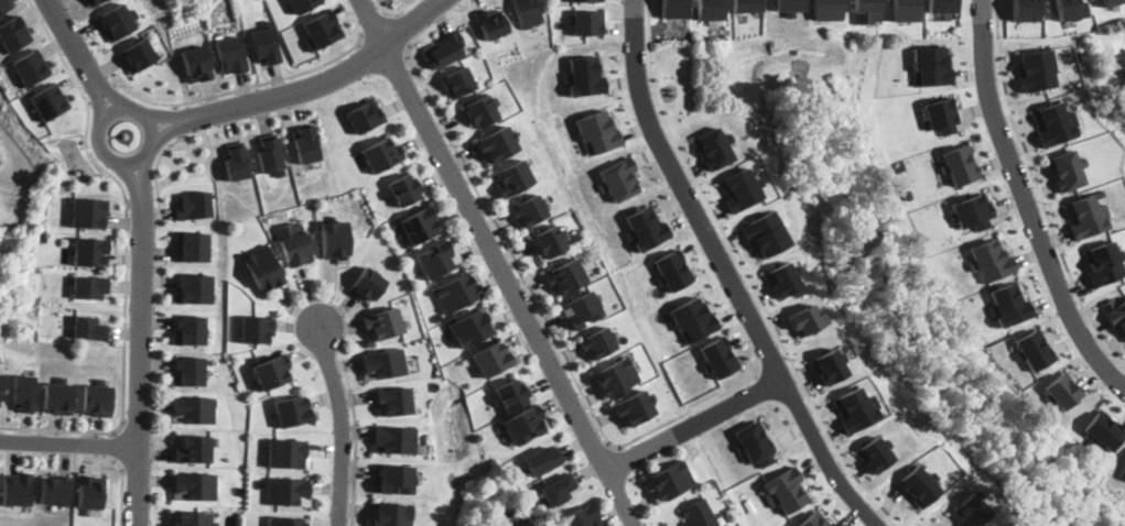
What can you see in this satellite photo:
building: (586, 0)
building: (94, 2)
building: (1110, 2)
building: (4, 4)
building: (303, 4)
building: (747, 6)
building: (943, 6)
building: (791, 7)
building: (674, 8)
building: (711, 9)
building: (1070, 9)
road: (396, 10)
building: (829, 10)
building: (906, 10)
building: (1025, 10)
building: (867, 11)
building: (528, 12)
building: (118, 21)
building: (587, 22)
building: (491, 23)
road: (377, 25)
road: (401, 29)
road: (65, 30)
building: (322, 30)
building: (13, 33)
building: (267, 43)
building: (445, 50)
building: (231, 54)
building: (139, 55)
building: (197, 64)
building: (932, 65)
building: (30, 66)
building: (1036, 69)
building: (584, 76)
building: (457, 81)
road: (294, 88)
road: (232, 92)
road: (104, 95)
building: (48, 100)
building: (480, 110)
building: (943, 114)
building: (365, 116)
road: (179, 122)
building: (1053, 124)
building: (598, 132)
building: (306, 143)
building: (497, 144)
building: (714, 147)
building: (382, 153)
building: (271, 154)
building: (236, 161)
building: (962, 164)
road: (156, 171)
building: (1067, 171)
building: (512, 177)
building: (618, 179)
building: (407, 188)
building: (740, 189)
road: (1039, 191)
road: (1027, 201)
road: (143, 204)
building: (194, 205)
building: (529, 210)
building: (974, 211)
building: (88, 212)
building: (1088, 217)
building: (420, 222)
building: (646, 228)
building: (764, 232)
building: (42, 239)
building: (335, 240)
building: (64, 241)
building: (548, 242)
building: (294, 243)
building: (193, 245)
building: (90, 251)
building: (437, 257)
road: (126, 259)
building: (992, 260)
road: (498, 263)
building: (1104, 263)
building: (262, 267)
building: (673, 270)
road: (726, 274)
road: (744, 274)
building: (565, 276)
building: (781, 280)
building: (367, 284)
road: (143, 285)
building: (89, 286)
building: (195, 288)
building: (455, 292)
building: (1008, 305)
building: (578, 310)
building: (1115, 315)
building: (437, 317)
road: (542, 317)
building: (693, 319)
building: (804, 319)
building: (382, 324)
building: (472, 326)
building: (89, 328)
building: (256, 328)
building: (191, 329)
building: (598, 342)
building: (1034, 350)
building: (493, 357)
building: (718, 357)
building: (382, 364)
road: (771, 365)
building: (827, 366)
building: (190, 370)
building: (272, 370)
building: (616, 376)
building: (1061, 390)
building: (24, 392)
building: (512, 393)
building: (58, 396)
building: (98, 398)
building: (394, 401)
building: (635, 407)
building: (193, 408)
building: (855, 408)
building: (293, 410)
road: (343, 424)
building: (524, 424)
road: (693, 424)
building: (1104, 430)
building: (393, 439)
road: (69, 441)
road: (356, 442)
building: (755, 442)
road: (118, 446)
building: (192, 448)
building: (288, 453)
building: (874, 453)
building: (542, 459)
building: (1123, 472)
building: (392, 478)
building: (670, 480)
building: (919, 485)
building: (194, 486)
building: (18, 489)
building: (55, 489)
building: (558, 489)
building: (785, 489)
building: (90, 491)
road: (121, 491)
building: (288, 491)
building: (970, 511)
building: (390, 514)
building: (700, 514)
building: (584, 516)
building: (191, 518)
building: (814, 519)
building: (289, 520)

